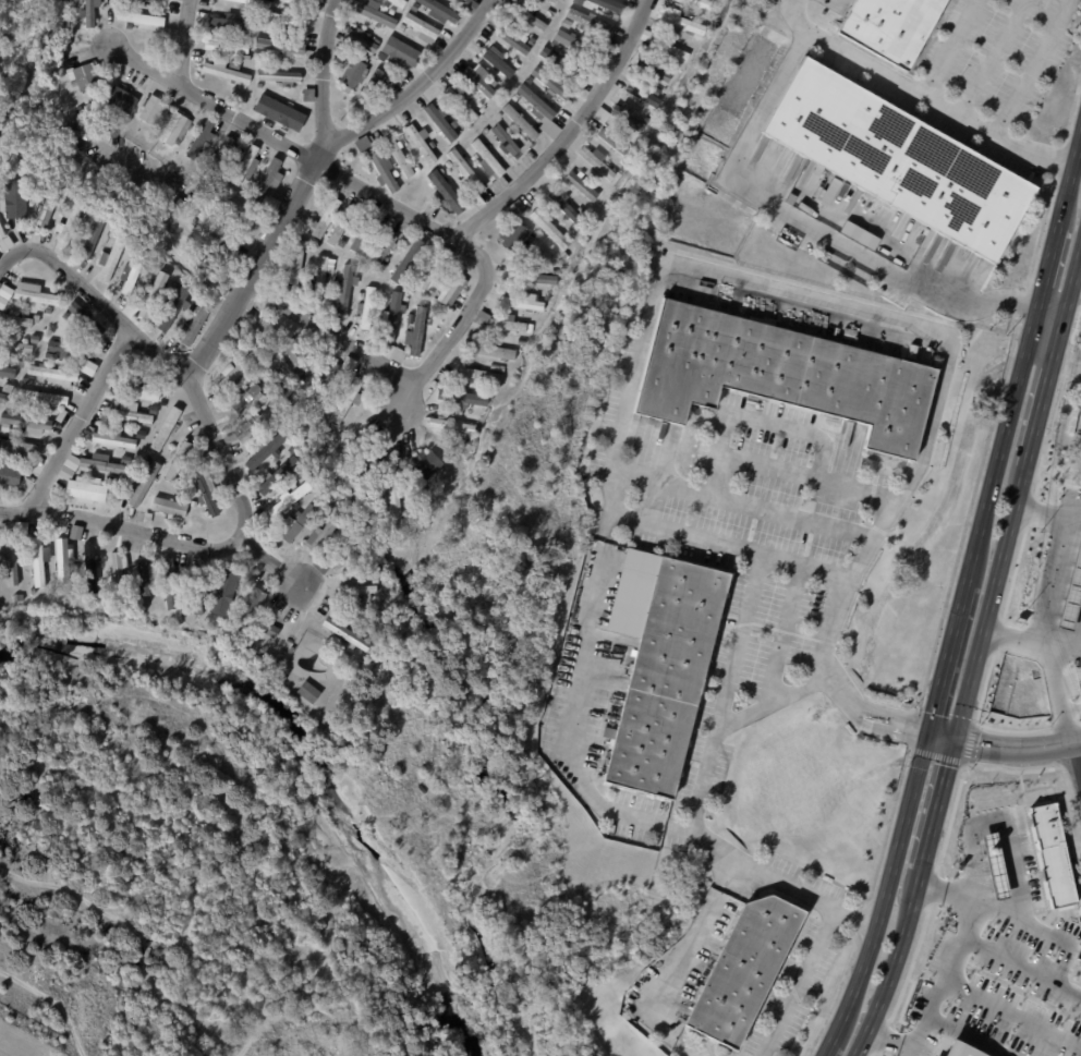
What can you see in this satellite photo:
building: (159, 0)
building: (295, 0)
building: (307, 0)
building: (286, 1)
building: (552, 1)
building: (252, 2)
building: (579, 2)
building: (397, 3)
building: (700, 3)
building: (469, 5)
building: (609, 5)
building: (414, 7)
building: (390, 11)
building: (439, 11)
building: (374, 12)
building: (88, 13)
building: (549, 13)
building: (529, 14)
road: (793, 15)
building: (284, 19)
building: (142, 20)
building: (591, 22)
building: (230, 23)
building: (566, 23)
building: (681, 23)
building: (401, 26)
building: (422, 27)
building: (890, 27)
building: (648, 37)
building: (361, 39)
building: (513, 39)
road: (181, 41)
building: (531, 41)
building: (226, 46)
building: (280, 46)
building: (576, 46)
road: (949, 46)
building: (339, 49)
building: (399, 52)
road: (992, 56)
building: (498, 61)
building: (232, 64)
building: (560, 64)
building: (515, 65)
road: (1032, 65)
building: (655, 70)
building: (226, 71)
road: (323, 71)
building: (353, 72)
building: (83, 74)
building: (278, 77)
building: (479, 80)
building: (491, 83)
building: (551, 83)
building: (534, 84)
building: (259, 86)
building: (371, 87)
building: (307, 95)
building: (642, 95)
building: (515, 97)
building: (122, 100)
road: (939, 100)
building: (462, 102)
building: (535, 102)
building: (477, 106)
building: (151, 108)
building: (78, 109)
building: (289, 111)
building: (537, 111)
building: (500, 114)
building: (602, 116)
building: (629, 119)
building: (441, 121)
building: (521, 122)
building: (456, 123)
building: (175, 130)
road: (567, 130)
building: (485, 131)
building: (201, 138)
building: (506, 141)
building: (612, 142)
building: (423, 143)
building: (362, 144)
road: (283, 147)
building: (26, 151)
building: (222, 154)
building: (400, 156)
building: (475, 157)
building: (900, 159)
building: (598, 161)
building: (245, 165)
building: (449, 165)
road: (309, 166)
building: (491, 167)
building: (385, 169)
building: (417, 169)
building: (442, 170)
building: (621, 171)
building: (221, 174)
building: (467, 174)
building: (267, 181)
building: (582, 185)
building: (447, 192)
building: (14, 198)
building: (177, 205)
building: (193, 205)
building: (45, 206)
building: (230, 206)
building: (562, 207)
building: (582, 210)
building: (59, 211)
building: (326, 217)
building: (193, 221)
road: (803, 222)
building: (69, 224)
building: (548, 227)
building: (216, 228)
building: (341, 228)
building: (1, 231)
building: (109, 233)
building: (859, 234)
building: (362, 235)
building: (88, 239)
building: (517, 239)
building: (532, 240)
building: (4, 242)
building: (382, 251)
building: (446, 253)
building: (111, 257)
road: (11, 258)
building: (408, 260)
building: (296, 262)
building: (131, 272)
building: (427, 274)
building: (534, 277)
building: (321, 279)
building: (345, 287)
building: (450, 289)
road: (787, 291)
building: (151, 292)
building: (4, 294)
building: (36, 295)
building: (360, 295)
building: (404, 298)
building: (520, 303)
building: (173, 305)
building: (368, 306)
building: (129, 308)
road: (1053, 308)
building: (433, 311)
building: (482, 314)
building: (66, 315)
building: (393, 315)
road: (460, 315)
building: (86, 318)
building: (410, 318)
building: (17, 320)
building: (509, 323)
building: (193, 326)
building: (416, 332)
road: (337, 335)
building: (34, 338)
building: (520, 340)
building: (236, 343)
building: (13, 344)
building: (62, 349)
building: (490, 349)
building: (299, 353)
building: (398, 354)
road: (1041, 356)
building: (0, 360)
building: (21, 363)
road: (1067, 363)
building: (352, 365)
building: (495, 366)
building: (88, 367)
building: (235, 372)
building: (8, 373)
building: (479, 374)
building: (52, 375)
building: (781, 375)
building: (327, 378)
building: (26, 380)
building: (114, 388)
building: (143, 388)
building: (489, 392)
building: (0, 395)
building: (245, 397)
building: (461, 397)
building: (41, 399)
road: (194, 400)
building: (348, 400)
building: (161, 401)
building: (265, 401)
building: (16, 404)
building: (260, 405)
building: (324, 405)
building: (64, 413)
building: (132, 414)
road: (81, 420)
building: (29, 424)
building: (450, 424)
road: (777, 424)
building: (331, 425)
building: (248, 426)
building: (275, 427)
building: (166, 429)
building: (138, 434)
building: (331, 435)
building: (408, 437)
building: (114, 439)
building: (461, 446)
building: (19, 447)
building: (265, 451)
building: (205, 454)
building: (124, 458)
building: (178, 460)
building: (71, 462)
building: (449, 462)
building: (104, 465)
building: (427, 465)
road: (788, 469)
building: (367, 471)
building: (64, 473)
building: (10, 475)
building: (274, 477)
building: (110, 481)
building: (145, 484)
building: (291, 485)
building: (364, 487)
building: (83, 489)
building: (207, 491)
building: (392, 494)
building: (288, 497)
building: (376, 497)
road: (746, 502)
building: (168, 507)
building: (325, 514)
road: (1049, 515)
building: (296, 522)
building: (20, 526)
road: (124, 527)
building: (218, 527)
building: (75, 532)
building: (319, 534)
building: (264, 539)
road: (730, 542)
building: (12, 559)
building: (60, 559)
building: (343, 559)
building: (38, 560)
building: (89, 567)
building: (119, 568)
building: (143, 575)
building: (373, 579)
road: (1049, 582)
building: (170, 583)
building: (129, 585)
building: (226, 585)
building: (357, 590)
building: (32, 591)
building: (195, 591)
building: (1070, 592)
gas station: (1070, 592)
building: (17, 598)
road: (962, 605)
building: (248, 606)
building: (218, 607)
building: (182, 611)
building: (268, 629)
road: (782, 633)
building: (348, 635)
road: (830, 638)
road: (1016, 640)
road: (741, 641)
building: (290, 650)
road: (1067, 650)
road: (976, 657)
building: (665, 679)
road: (564, 689)
building: (307, 692)
road: (1057, 695)
traffic signals: (928, 730)
traffic signals: (956, 737)
road: (1004, 747)
road: (1077, 761)
road: (693, 820)
building: (995, 865)
road: (689, 959)
road: (1028, 959)
road: (956, 969)
building: (743, 973)
road: (797, 982)
road: (1018, 1003)
road: (984, 1032)
building: (962, 1049)
road: (915, 1051)

